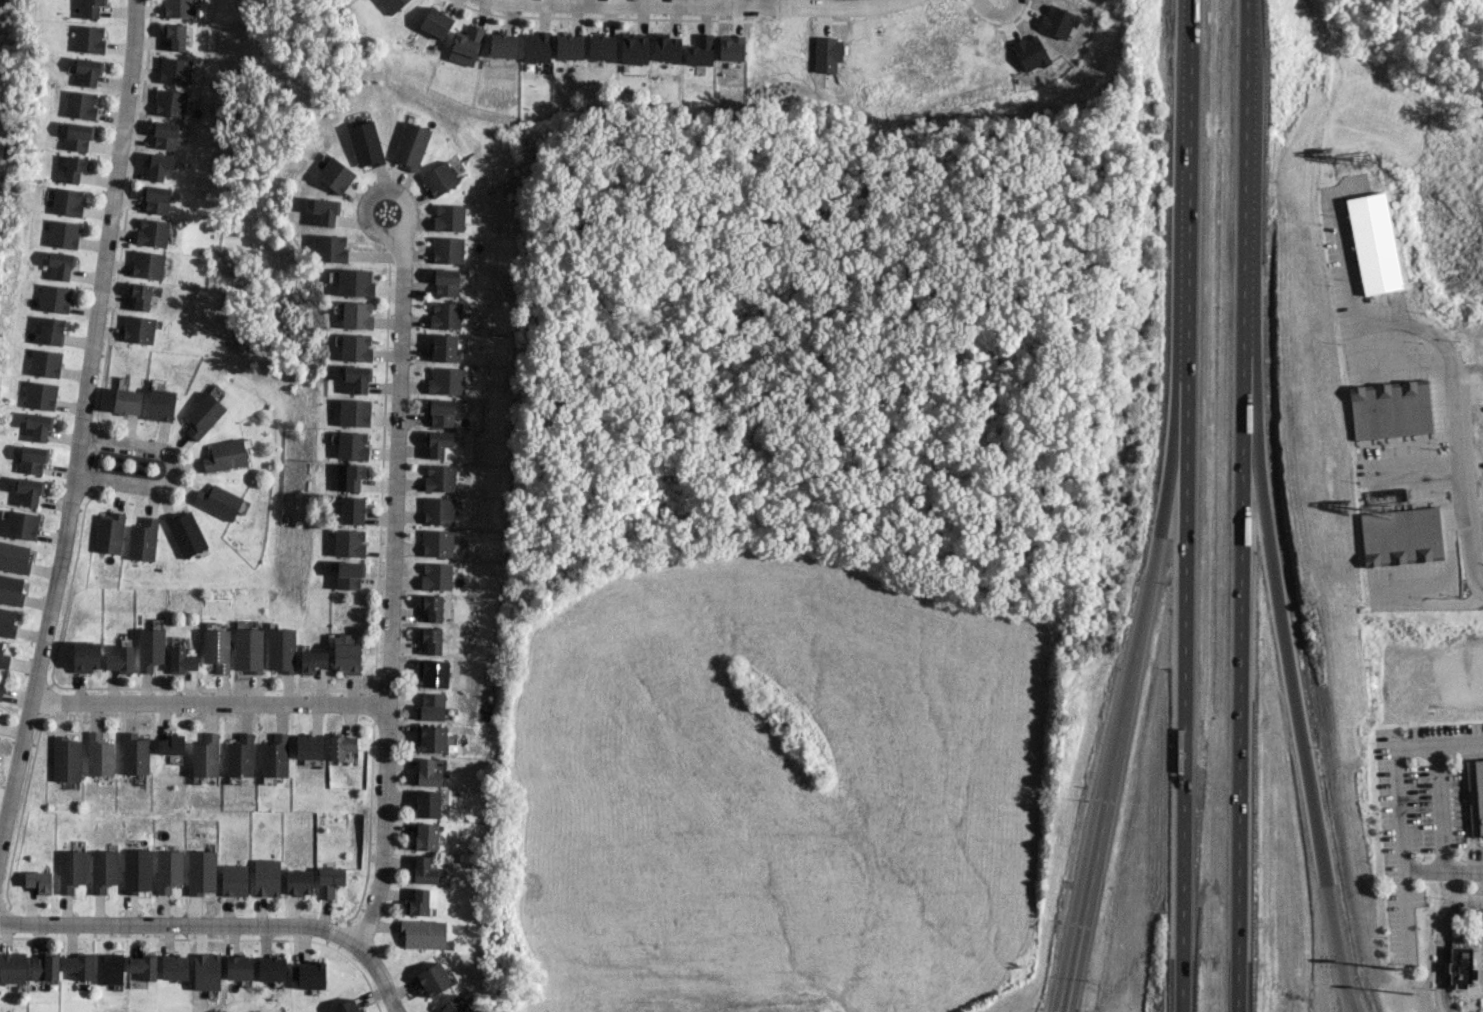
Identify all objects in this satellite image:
road: (754, 2)
road: (719, 4)
building: (391, 5)
building: (92, 8)
building: (178, 8)
road: (999, 18)
building: (436, 22)
building: (174, 36)
building: (88, 38)
building: (468, 41)
building: (503, 45)
building: (536, 46)
building: (568, 46)
building: (601, 47)
building: (666, 47)
building: (634, 48)
building: (700, 50)
building: (731, 50)
building: (174, 70)
building: (88, 71)
building: (170, 103)
building: (80, 104)
building: (164, 135)
building: (78, 136)
building: (365, 144)
building: (410, 145)
building: (158, 165)
building: (74, 168)
building: (335, 175)
building: (439, 178)
building: (155, 199)
building: (67, 201)
building: (325, 210)
building: (449, 217)
building: (152, 232)
building: (62, 233)
building: (1373, 243)
building: (331, 248)
building: (447, 250)
building: (60, 264)
building: (147, 264)
building: (354, 282)
building: (445, 282)
building: (140, 295)
building: (54, 298)
building: (356, 314)
building: (138, 329)
building: (51, 330)
building: (355, 347)
building: (444, 347)
building: (44, 362)
building: (357, 378)
building: (446, 380)
building: (40, 395)
building: (127, 401)
building: (160, 404)
building: (1389, 409)
building: (354, 412)
building: (441, 412)
building: (203, 414)
building: (38, 426)
road: (77, 427)
building: (438, 443)
building: (351, 445)
building: (225, 455)
road: (1461, 456)
building: (32, 459)
road: (171, 468)
building: (354, 476)
building: (439, 478)
building: (29, 490)
building: (218, 501)
road: (1186, 506)
road: (1241, 506)
building: (351, 510)
building: (438, 510)
road: (393, 520)
building: (21, 524)
building: (108, 532)
building: (185, 532)
building: (1400, 536)
building: (142, 539)
building: (349, 542)
building: (437, 543)
building: (14, 557)
building: (349, 575)
building: (436, 575)
building: (11, 590)
building: (432, 607)
building: (7, 622)
building: (431, 639)
building: (177, 640)
building: (150, 648)
building: (216, 649)
building: (248, 649)
building: (281, 649)
building: (346, 654)
building: (86, 656)
building: (3, 657)
building: (120, 659)
building: (181, 660)
building: (312, 661)
road: (1288, 667)
building: (433, 673)
road: (1129, 683)
building: (1, 691)
road: (208, 703)
building: (431, 706)
building: (431, 738)
building: (170, 745)
building: (309, 746)
building: (341, 746)
building: (134, 753)
building: (99, 755)
building: (205, 755)
building: (240, 756)
building: (275, 756)
building: (65, 759)
road: (1397, 764)
building: (428, 773)
building: (1475, 795)
building: (427, 803)
road: (1441, 807)
building: (426, 836)
building: (70, 870)
building: (103, 870)
building: (136, 870)
building: (168, 870)
building: (424, 870)
road: (1443, 870)
building: (201, 872)
building: (266, 877)
building: (234, 880)
building: (38, 881)
building: (298, 881)
building: (329, 881)
building: (418, 903)
road: (1403, 911)
road: (219, 925)
building: (422, 934)
road: (1443, 942)
building: (79, 964)
building: (143, 966)
building: (12, 967)
building: (174, 967)
building: (238, 967)
building: (1460, 967)
building: (44, 968)
building: (109, 968)
building: (271, 969)
building: (206, 971)
building: (308, 975)
building: (434, 979)
building: (455, 1005)
building: (346, 1006)
road: (1064, 1006)

